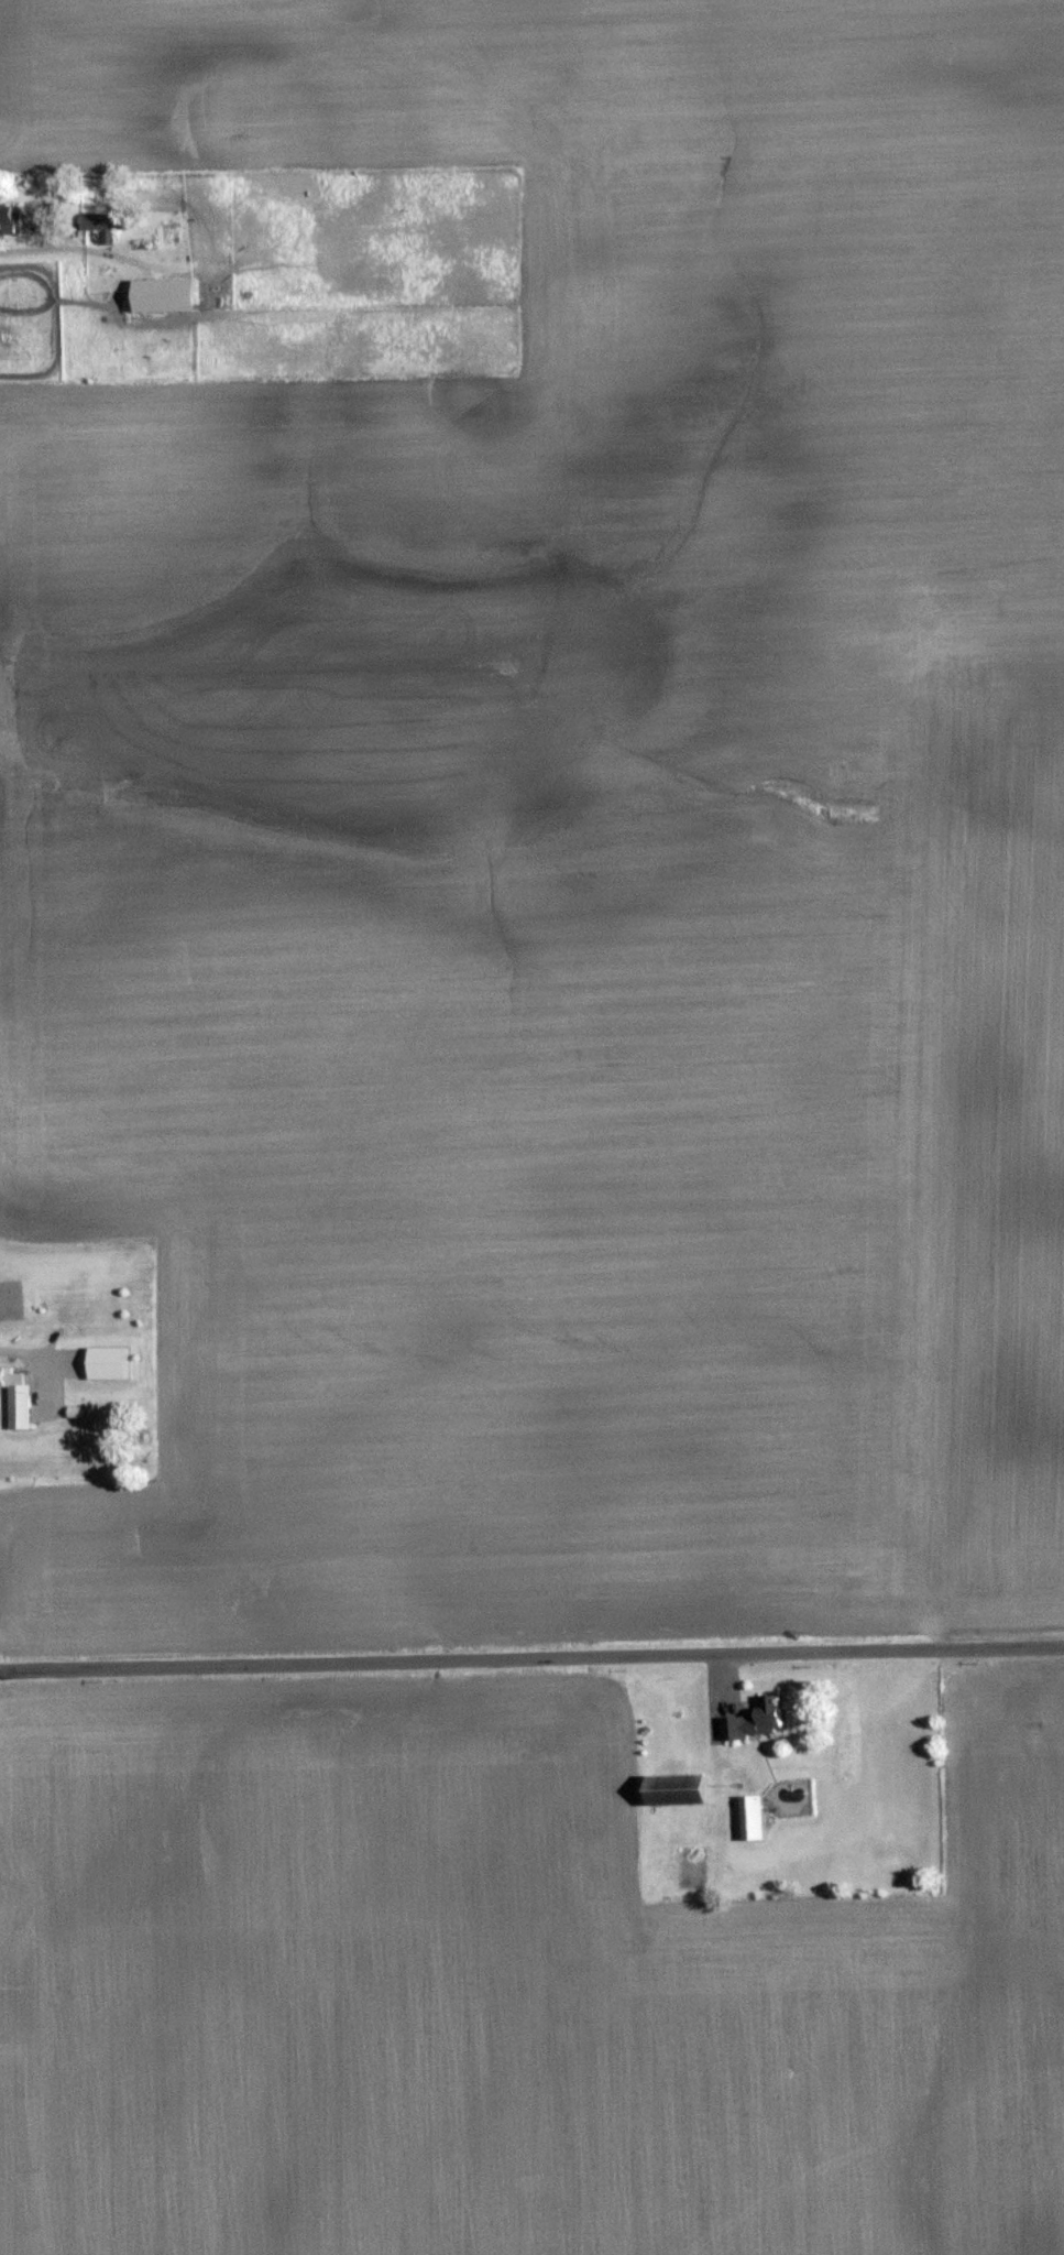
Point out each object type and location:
building: (11, 220)
building: (107, 222)
road: (94, 243)
building: (169, 296)
building: (111, 1363)
building: (20, 1401)
road: (531, 1655)
building: (758, 1720)
building: (682, 1789)
building: (755, 1818)

